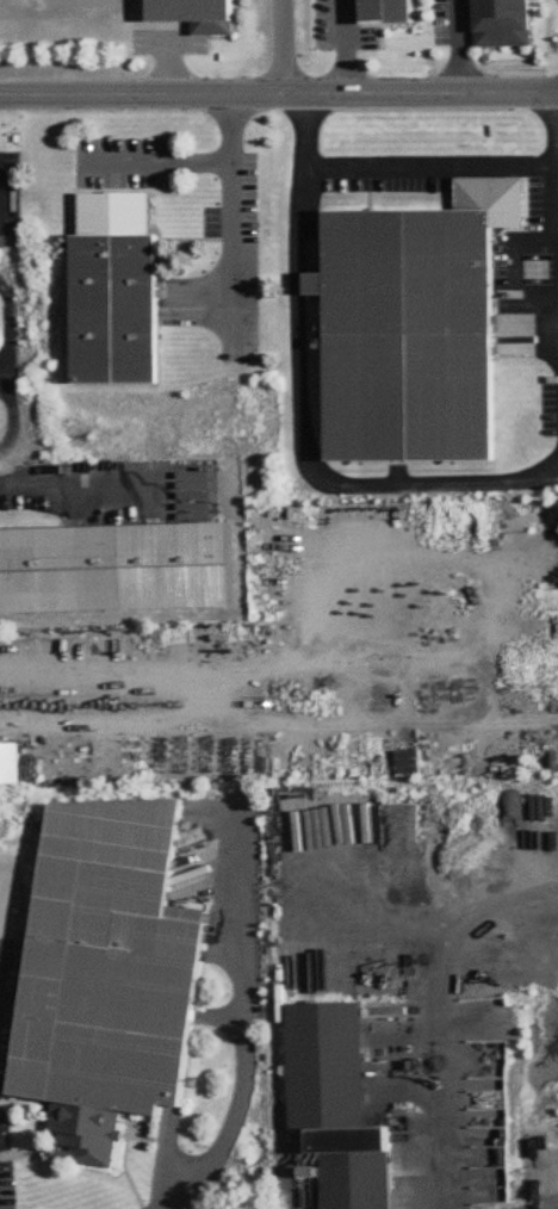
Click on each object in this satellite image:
building: (190, 11)
building: (386, 12)
building: (501, 23)
road: (459, 45)
road: (283, 46)
road: (278, 94)
road: (160, 160)
road: (429, 172)
road: (557, 179)
road: (231, 217)
building: (113, 292)
building: (408, 336)
road: (7, 370)
road: (304, 435)
road: (30, 489)
building: (62, 571)
building: (10, 764)
building: (106, 975)
road: (446, 1016)
road: (244, 1071)
building: (334, 1104)

